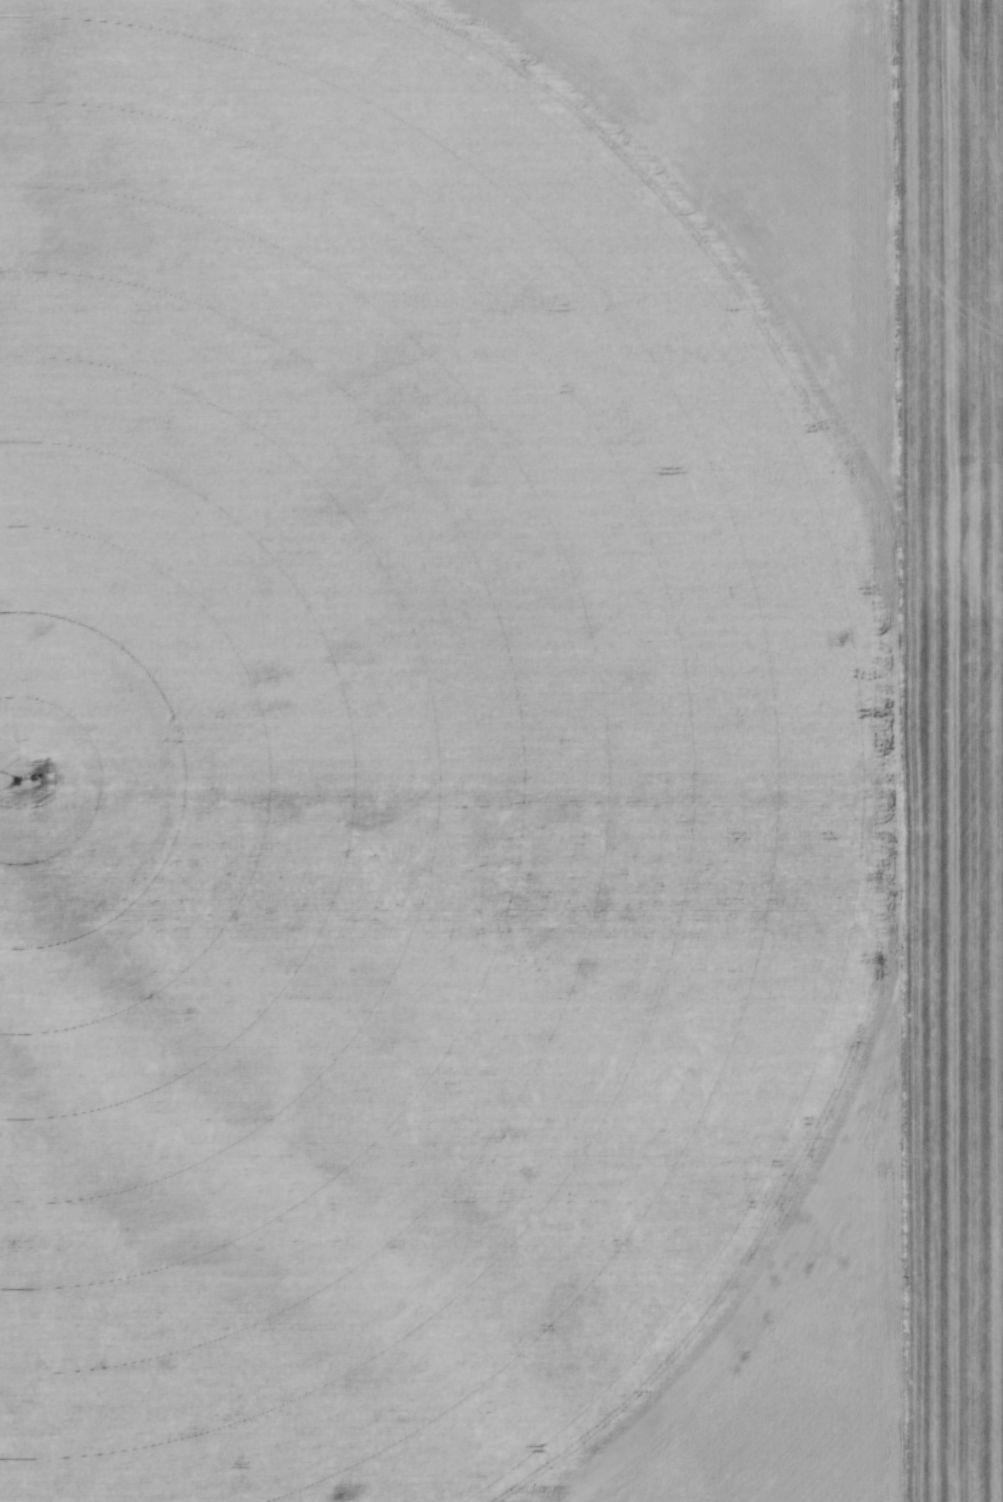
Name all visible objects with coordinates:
crop: (501, 751)

